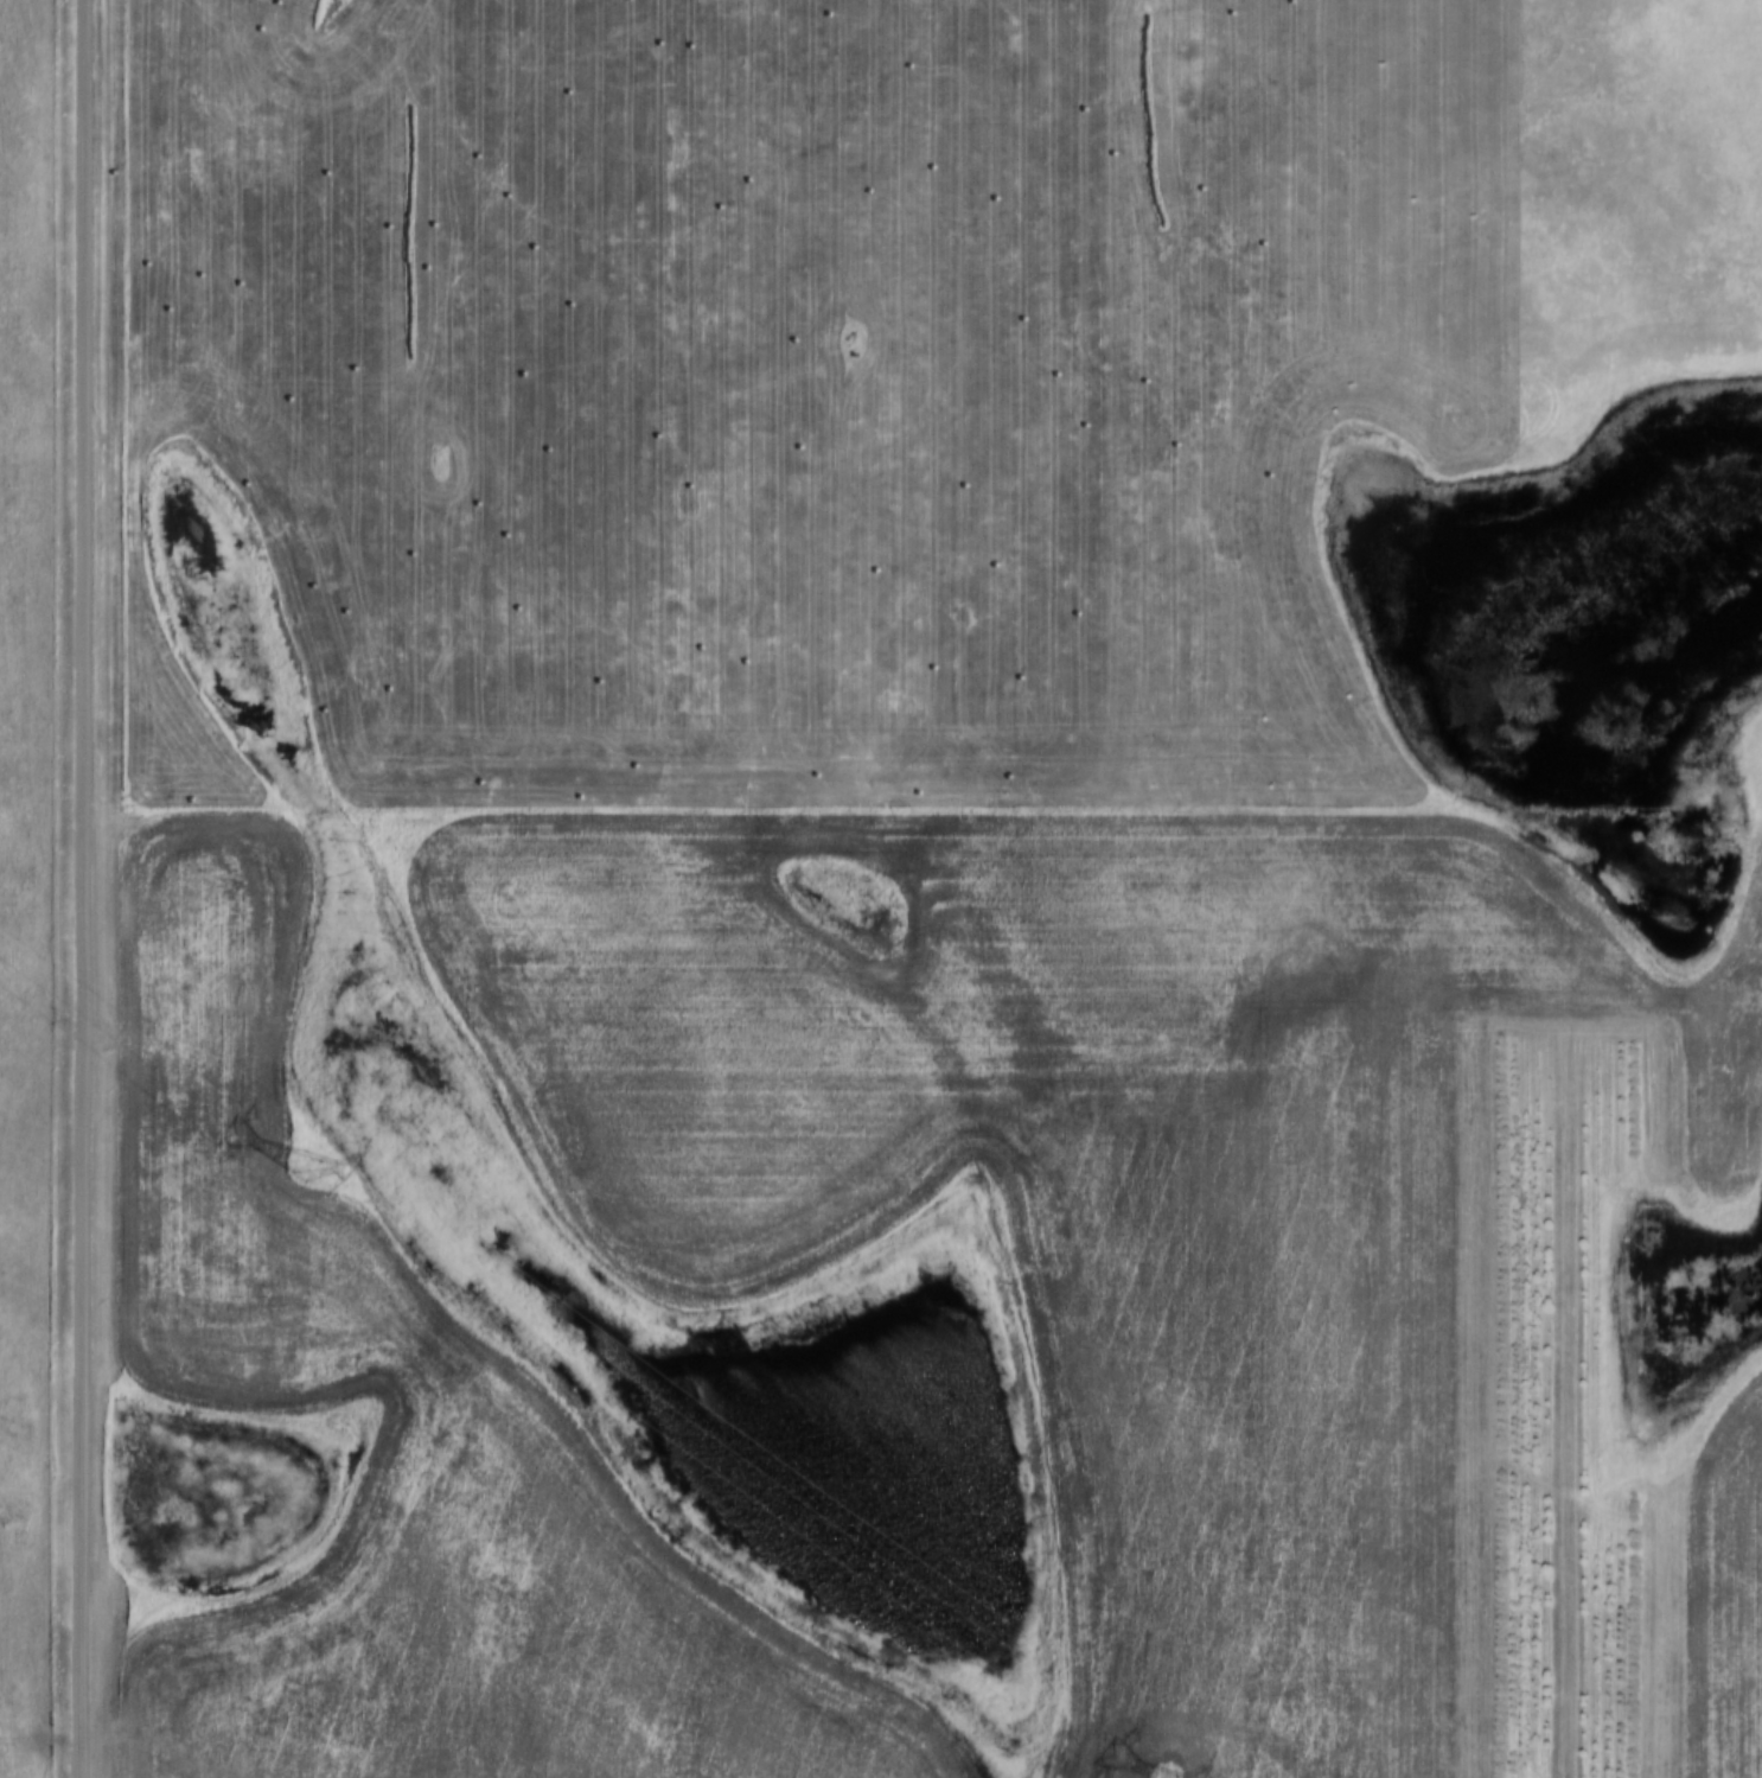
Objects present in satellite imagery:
building: (229, 191)
building: (1121, 211)
road: (82, 888)
power tower: (305, 1165)

